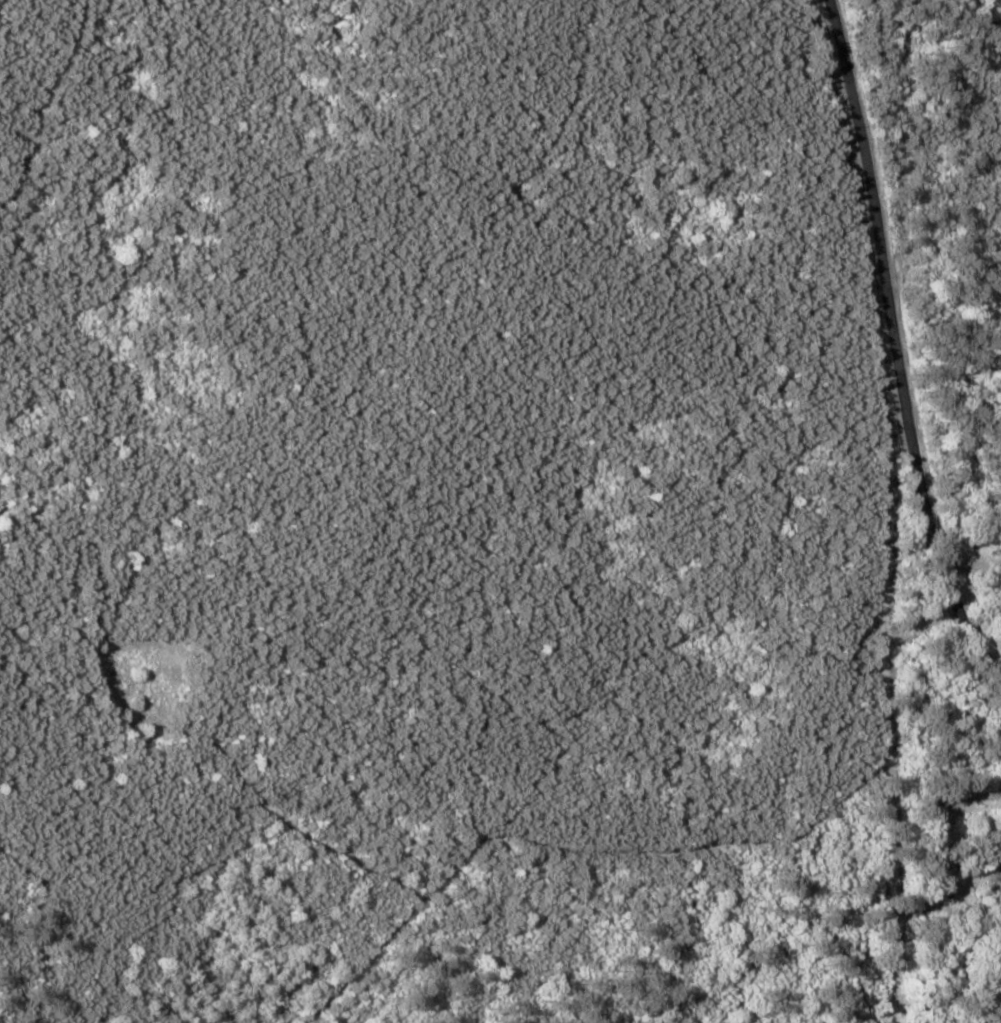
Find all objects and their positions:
road: (909, 343)
road: (918, 899)

